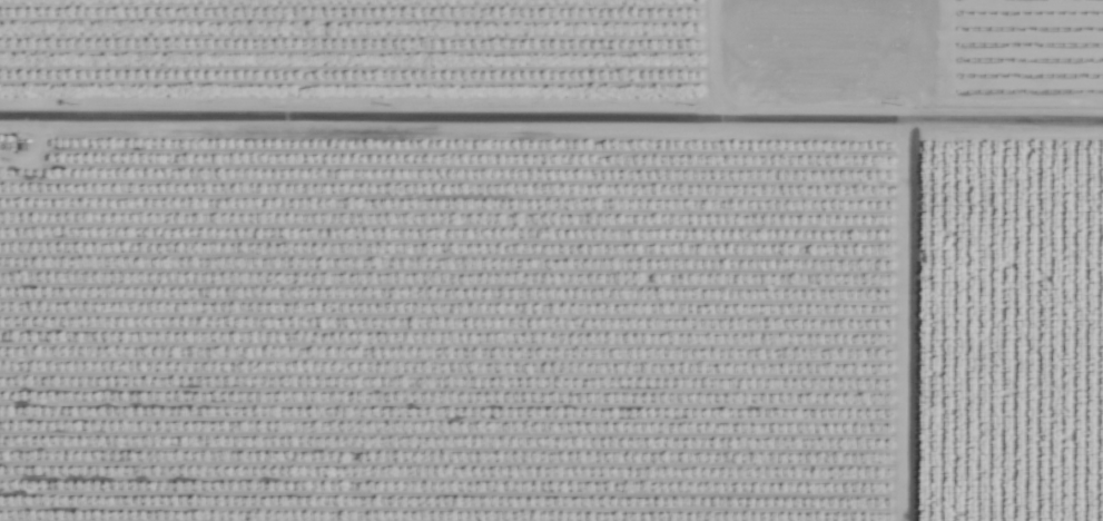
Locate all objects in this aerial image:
road: (551, 136)
crop: (551, 260)

